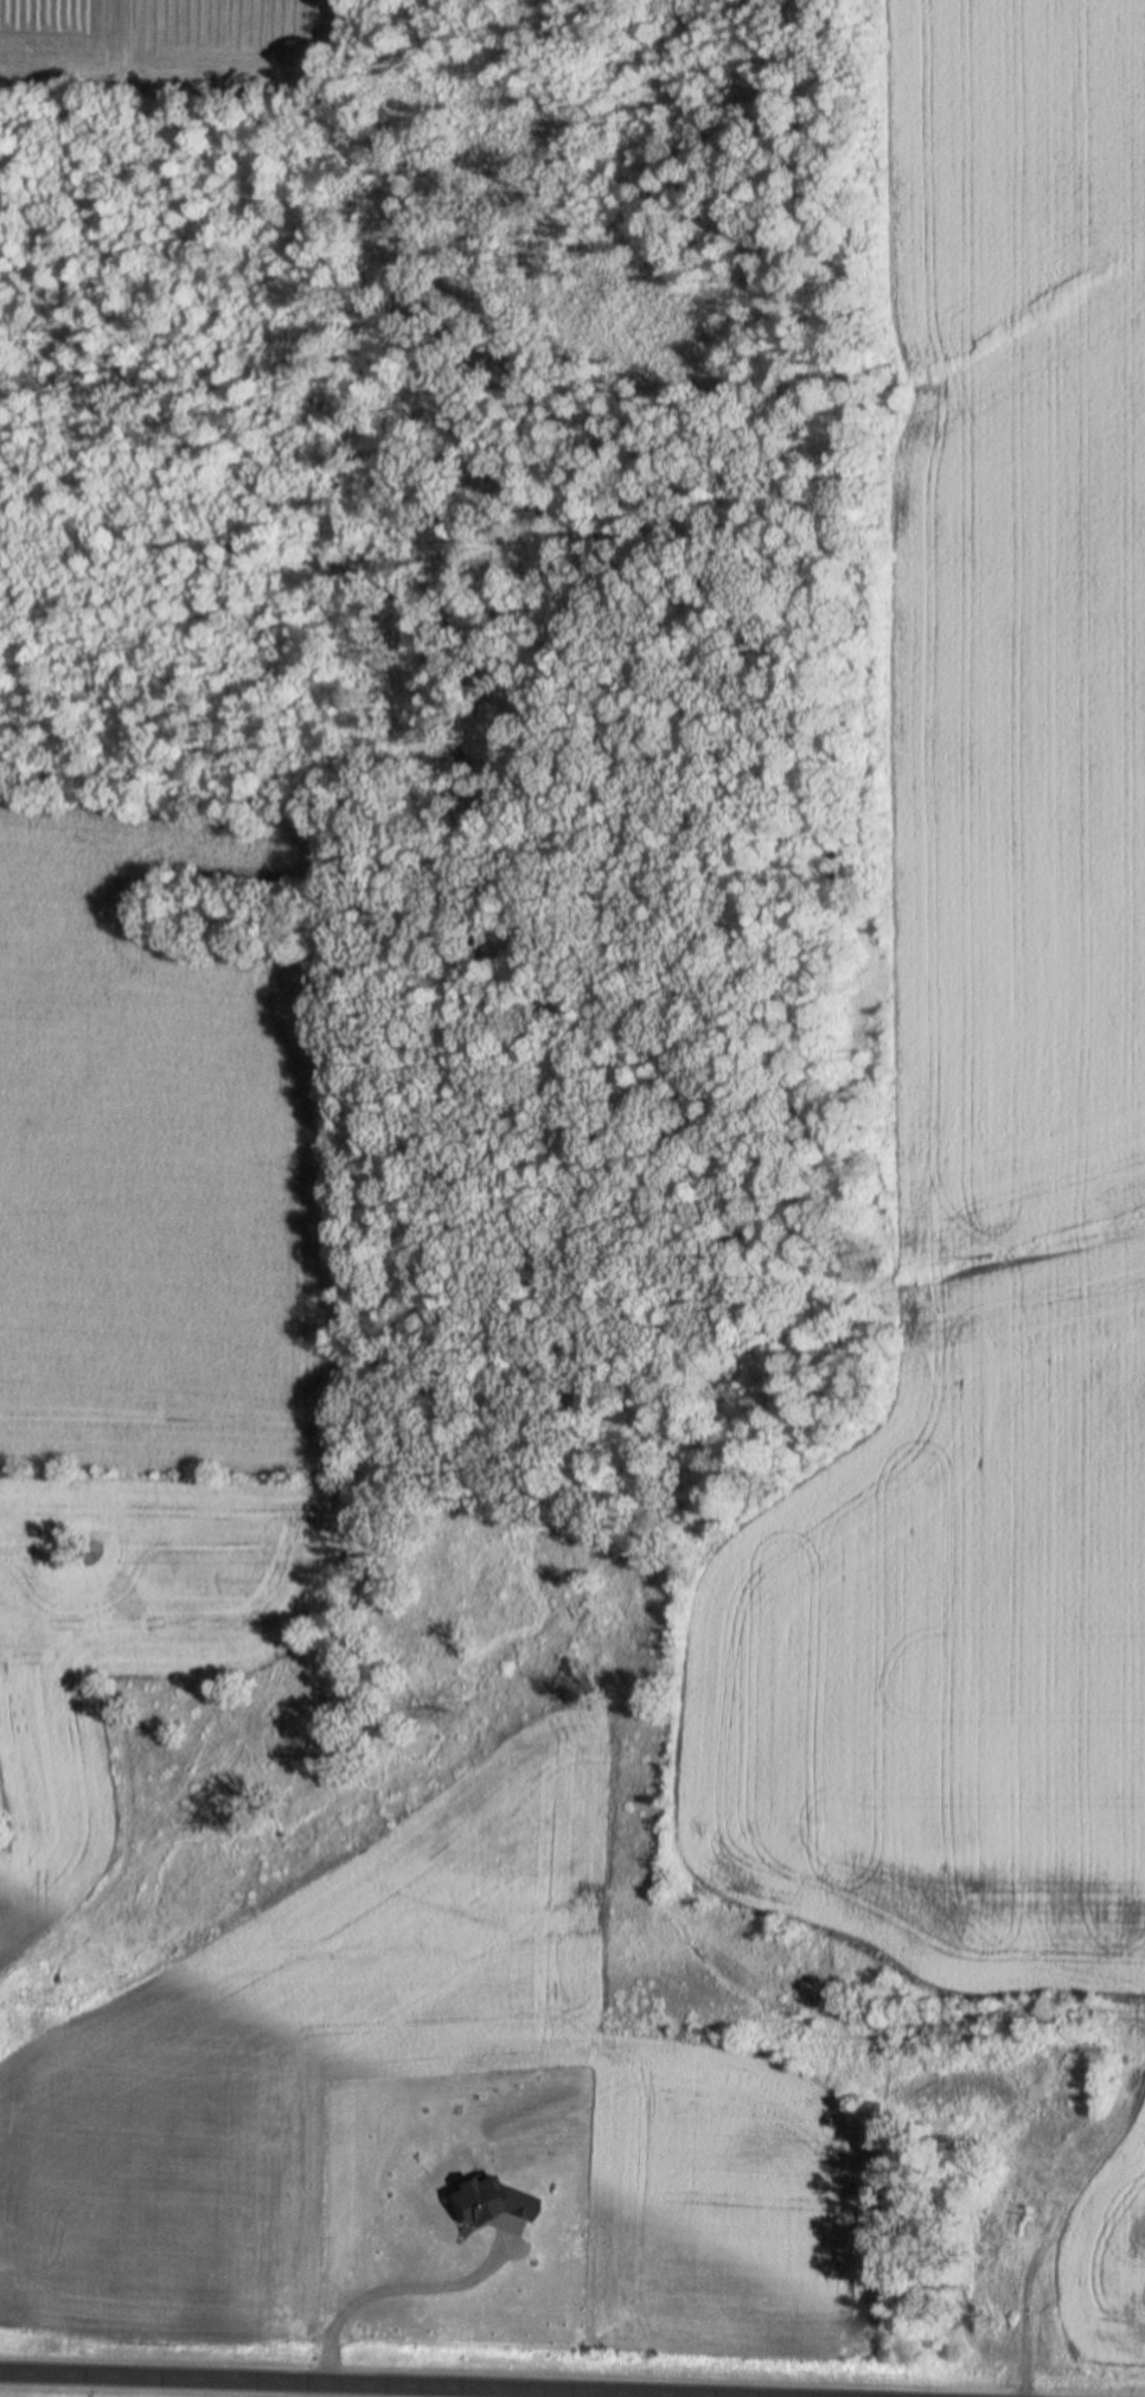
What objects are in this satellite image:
building: (984, 2252)
road: (344, 2384)

